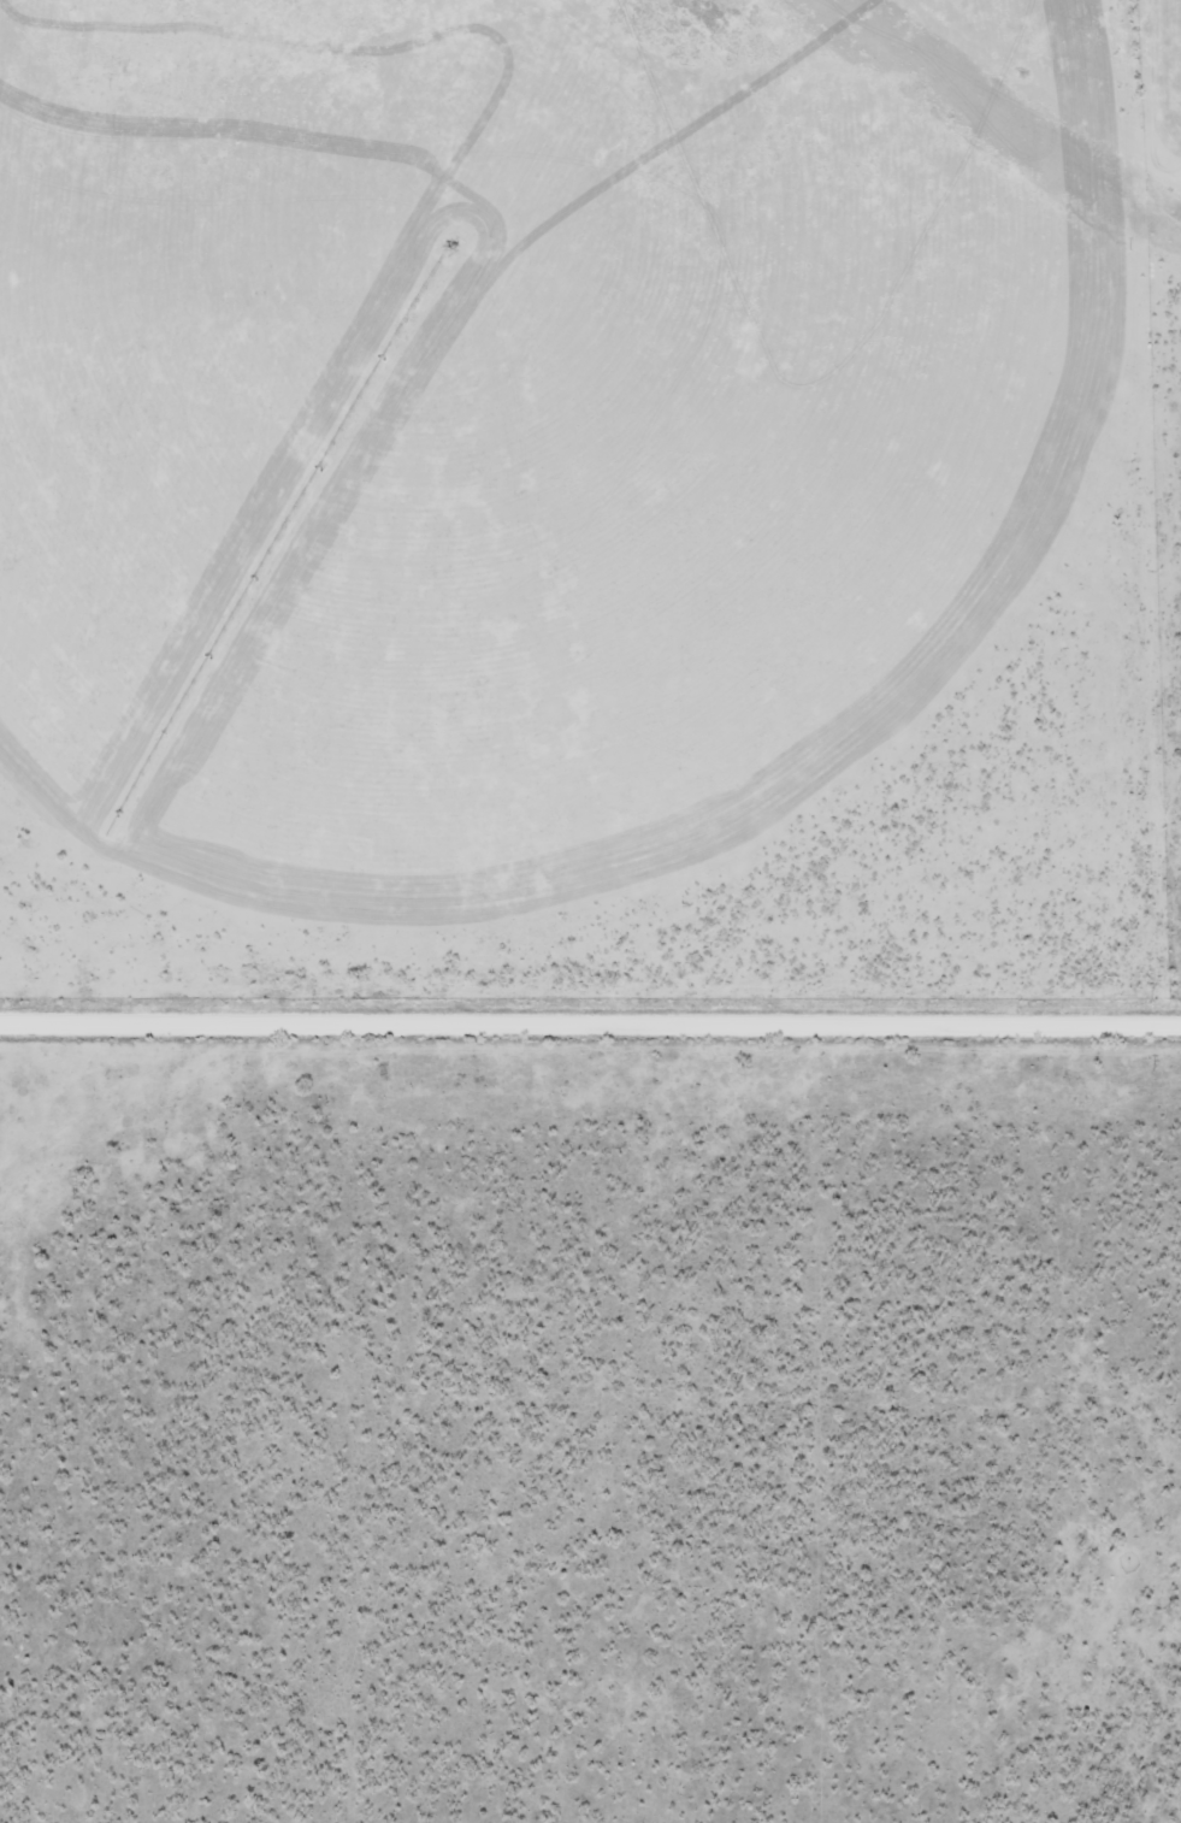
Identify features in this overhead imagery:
road: (590, 1032)

